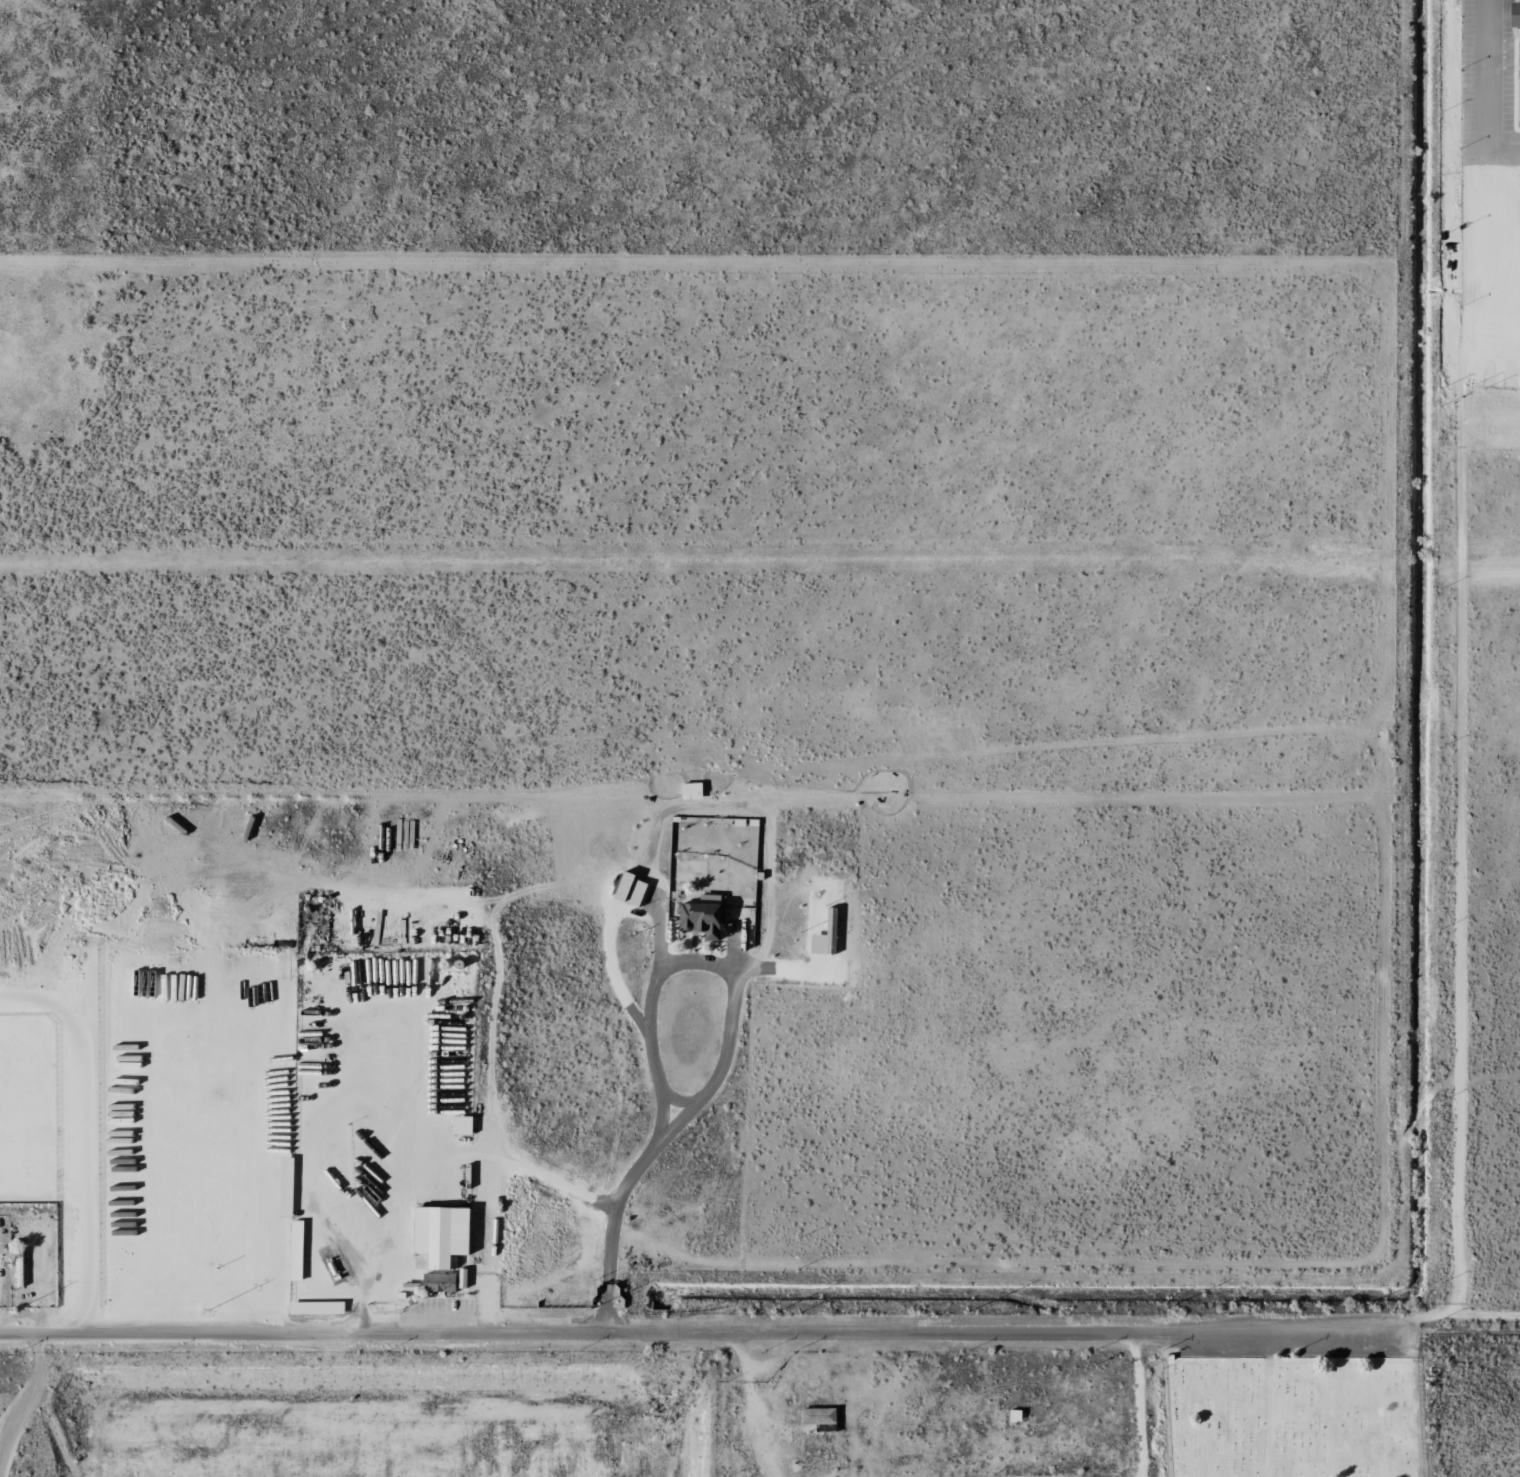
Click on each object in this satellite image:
building: (1512, 14)
building: (1517, 101)
building: (689, 789)
building: (627, 888)
building: (700, 916)
building: (824, 935)
building: (460, 1125)
building: (284, 1172)
building: (438, 1235)
building: (436, 1282)
building: (314, 1308)
road: (760, 1332)
building: (816, 1416)
park: (1291, 1416)
building: (824, 1428)

